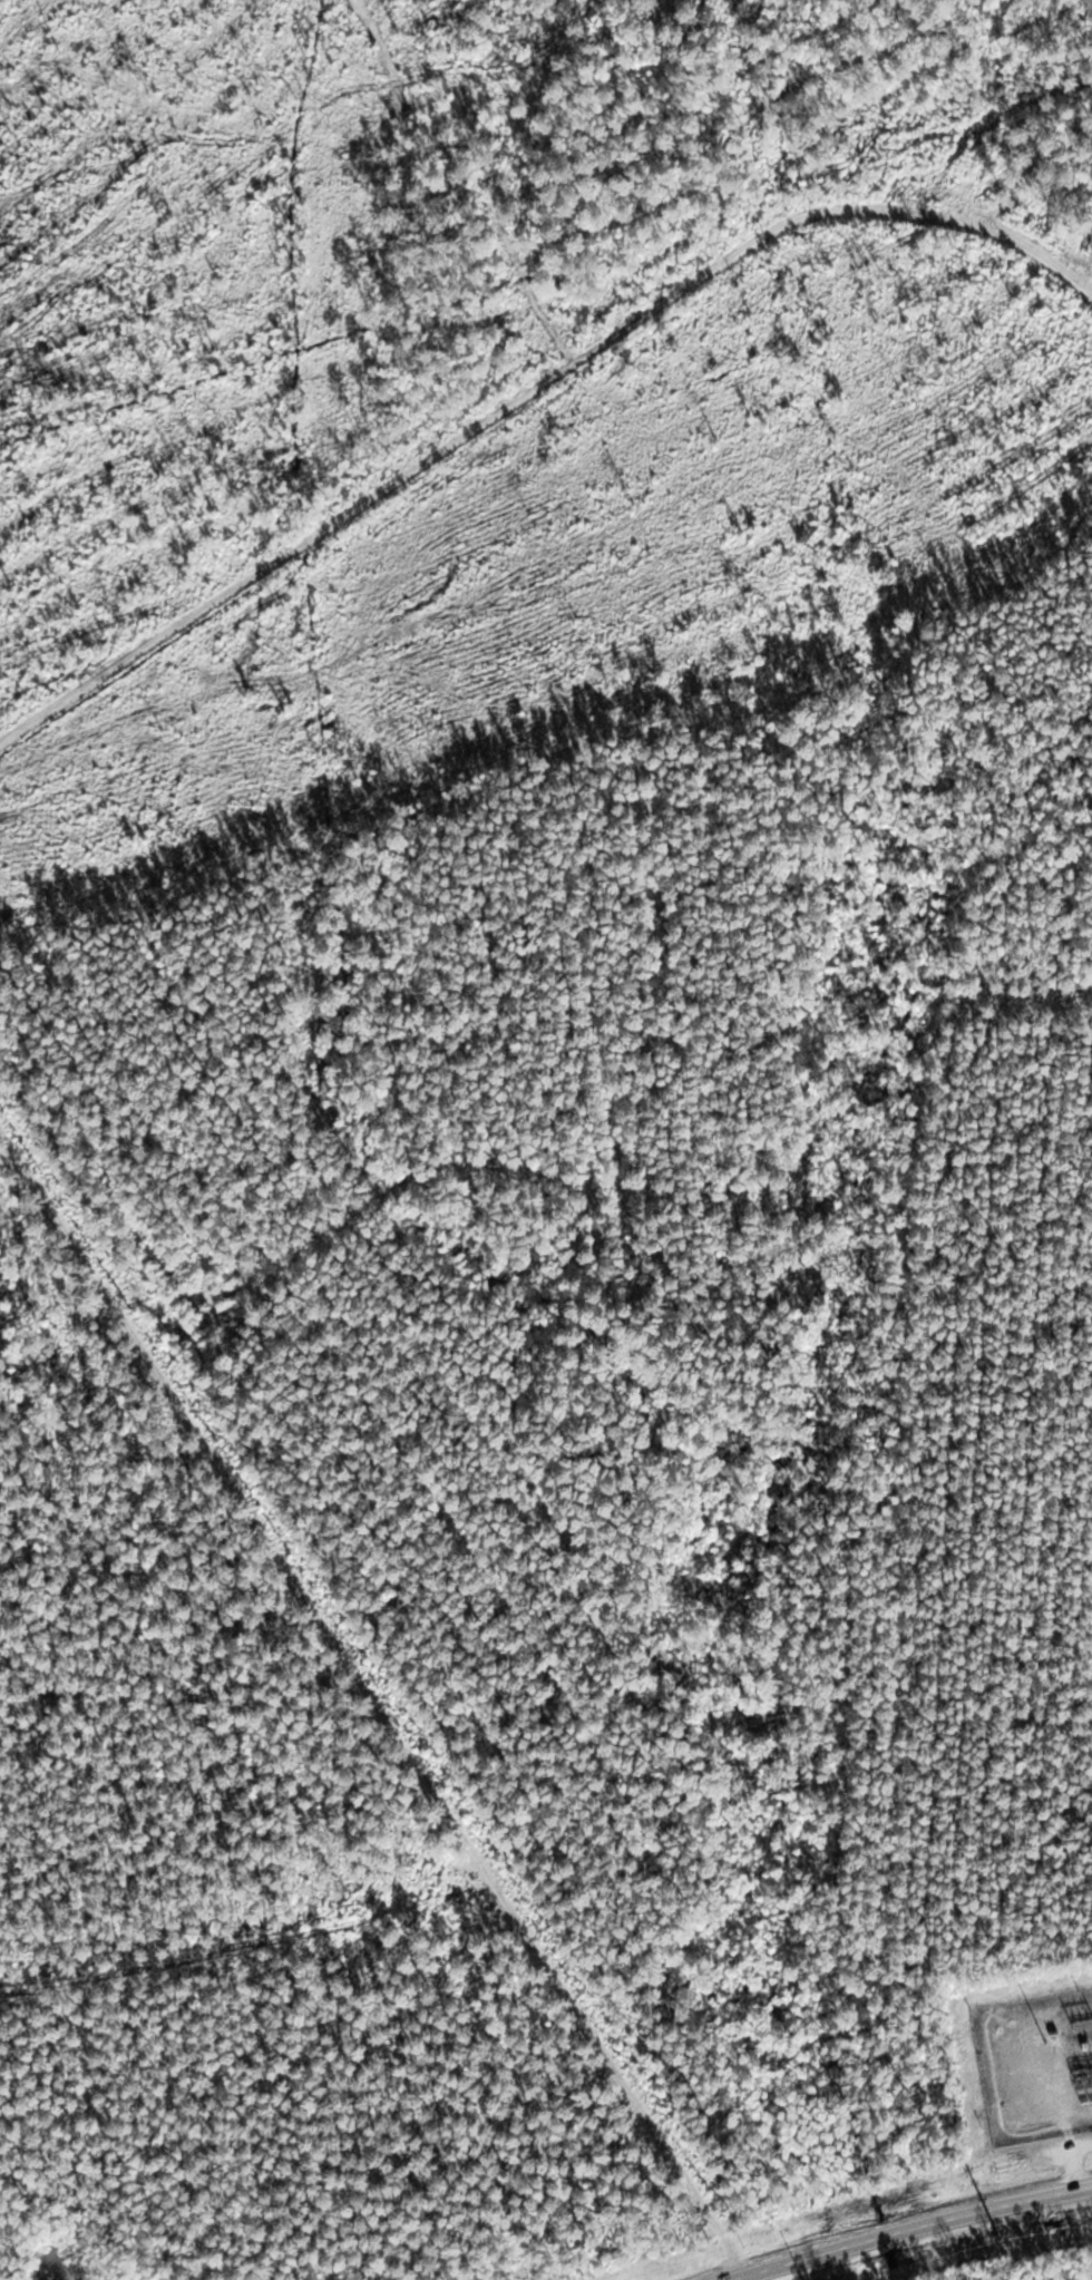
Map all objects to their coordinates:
road: (926, 2230)

